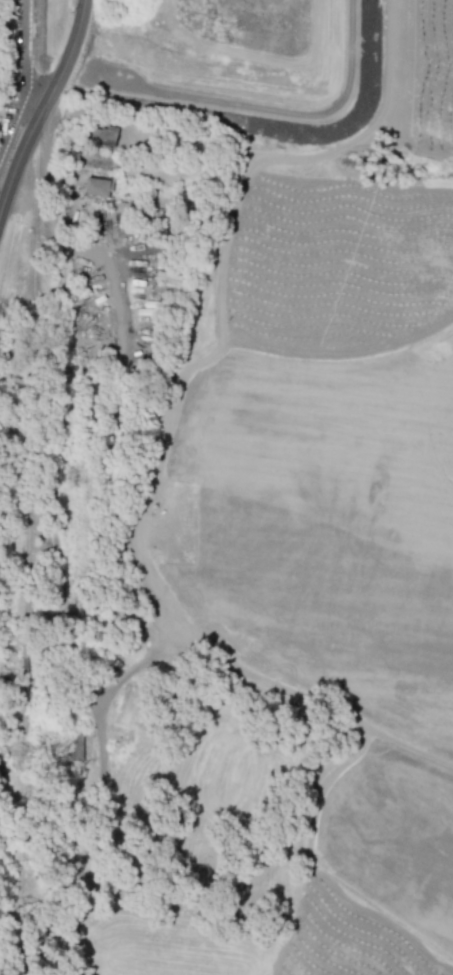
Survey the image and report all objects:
road: (66, 63)
building: (103, 136)
road: (15, 167)
building: (98, 186)
building: (167, 277)
railway: (31, 487)

